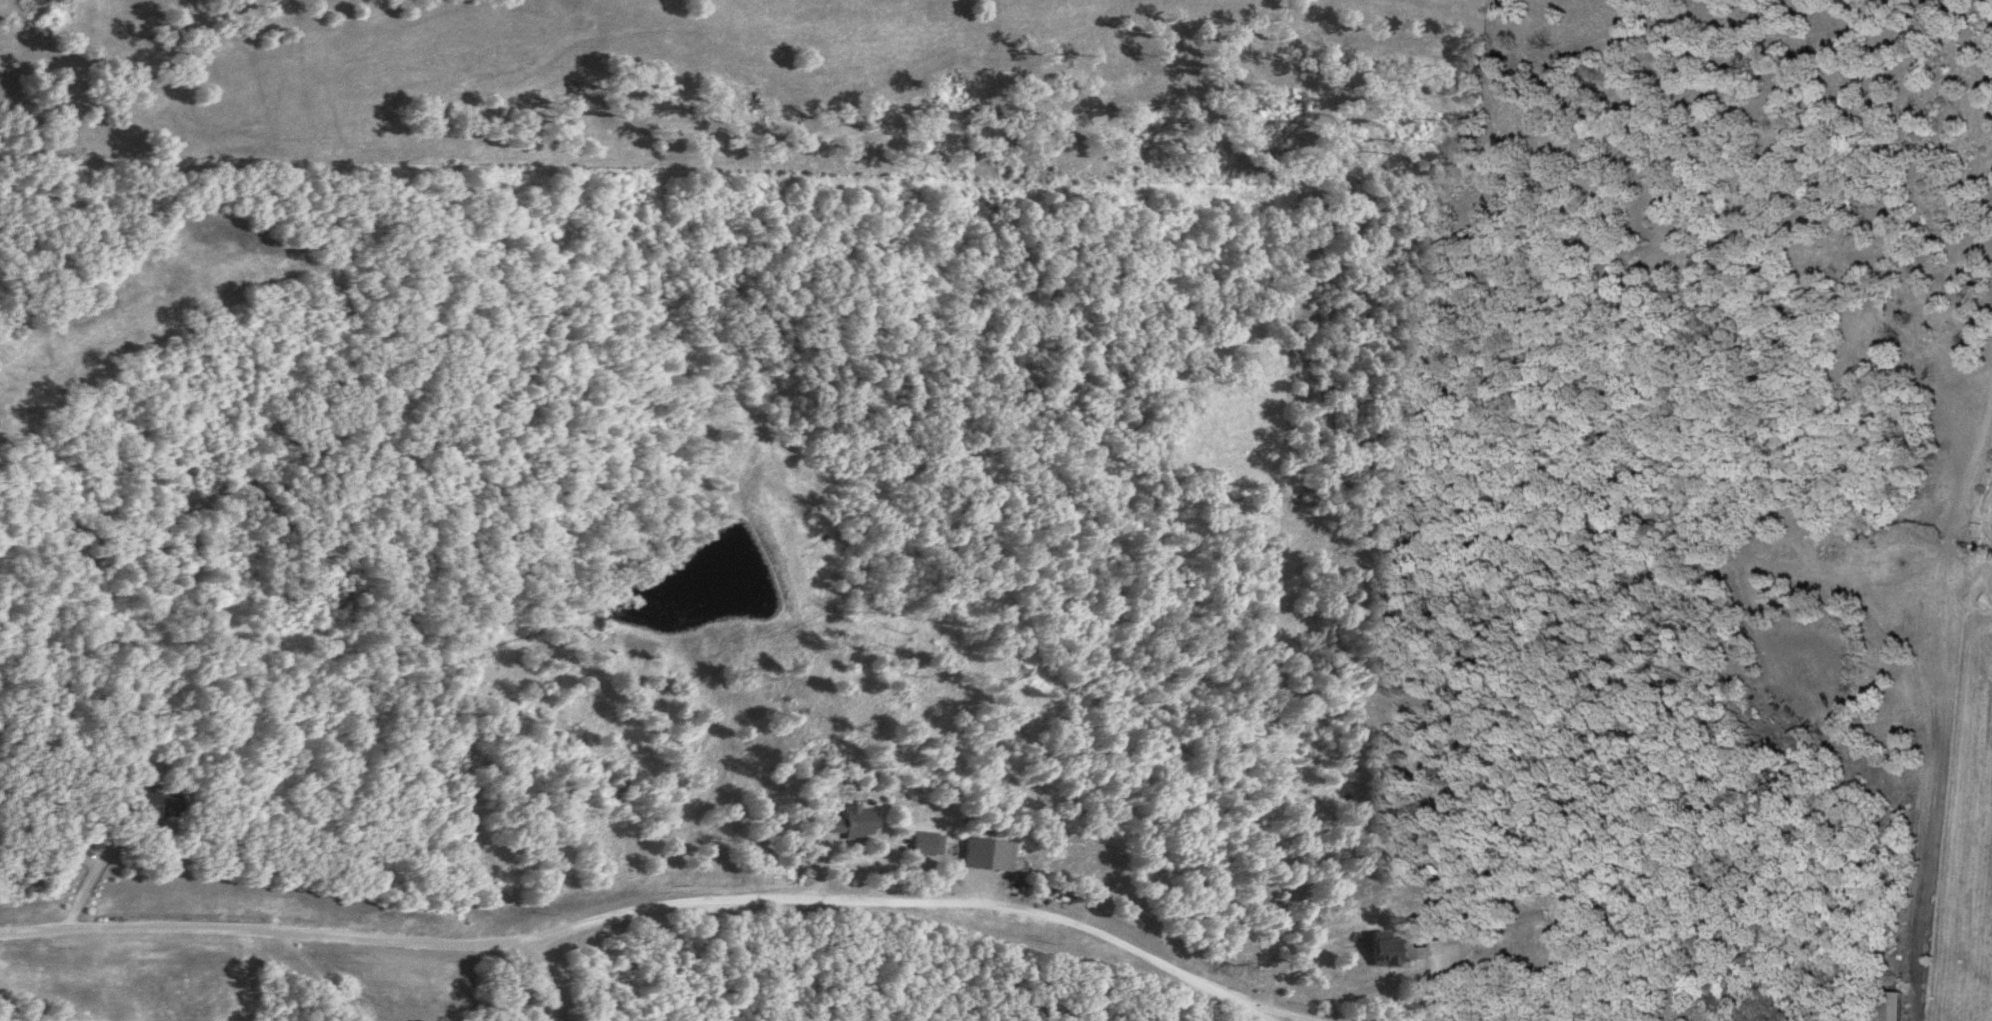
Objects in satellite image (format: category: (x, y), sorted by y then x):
road: (1009, 714)
building: (151, 806)
building: (862, 822)
building: (929, 844)
building: (988, 855)
road: (86, 884)
road: (645, 907)
building: (1394, 952)
road: (546, 976)
road: (1410, 997)
building: (1897, 1006)
road: (1280, 1010)

